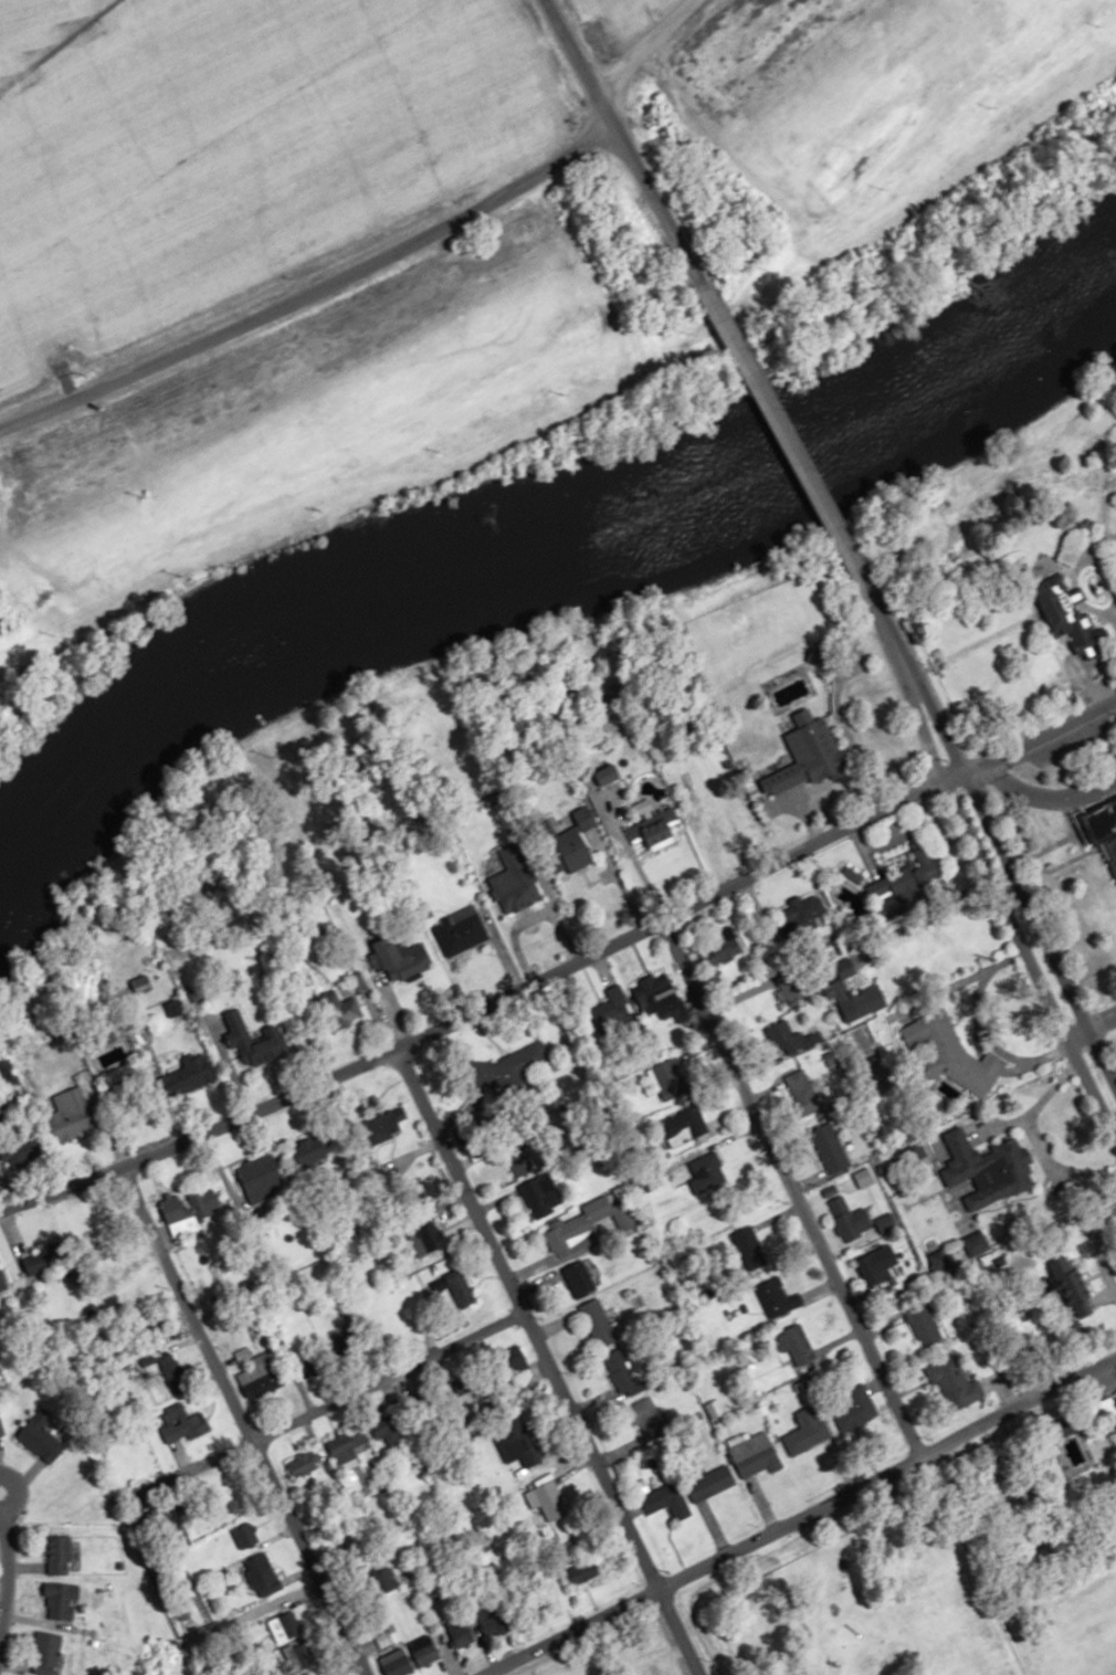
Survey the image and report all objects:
road: (643, 45)
road: (623, 141)
road: (312, 284)
road: (794, 438)
river: (538, 547)
road: (1061, 576)
road: (1108, 620)
building: (818, 656)
road: (1035, 728)
parking lot: (1072, 742)
building: (807, 755)
building: (609, 773)
road: (1042, 799)
building: (724, 819)
parking lot: (1049, 822)
building: (1099, 825)
building: (656, 833)
building: (577, 849)
road: (994, 853)
building: (514, 881)
building: (902, 900)
building: (803, 913)
building: (461, 930)
building: (722, 948)
building: (403, 958)
building: (661, 1004)
building: (851, 1004)
road: (485, 1008)
building: (339, 1009)
building: (609, 1015)
road: (1098, 1024)
building: (783, 1035)
building: (256, 1039)
building: (954, 1053)
building: (528, 1058)
building: (198, 1071)
building: (668, 1079)
building: (802, 1092)
building: (73, 1114)
building: (683, 1126)
building: (829, 1148)
building: (518, 1160)
building: (698, 1173)
building: (992, 1173)
building: (865, 1177)
building: (261, 1178)
road: (790, 1189)
building: (540, 1195)
building: (192, 1207)
building: (624, 1215)
building: (849, 1219)
building: (569, 1235)
building: (427, 1240)
building: (976, 1243)
building: (749, 1247)
building: (46, 1256)
building: (945, 1258)
building: (874, 1265)
building: (580, 1279)
building: (1067, 1281)
building: (461, 1289)
building: (0, 1293)
building: (777, 1298)
building: (598, 1324)
building: (923, 1324)
building: (797, 1346)
building: (325, 1352)
road: (546, 1363)
building: (620, 1371)
building: (954, 1384)
building: (1114, 1399)
road: (322, 1405)
building: (646, 1419)
road: (240, 1420)
building: (0, 1431)
building: (807, 1431)
building: (389, 1432)
building: (40, 1439)
building: (523, 1446)
building: (346, 1447)
building: (754, 1455)
building: (304, 1465)
building: (710, 1483)
road: (6, 1489)
building: (668, 1499)
building: (551, 1500)
road: (798, 1516)
road: (866, 1523)
building: (246, 1541)
road: (2, 1557)
building: (55, 1557)
building: (582, 1571)
building: (383, 1581)
building: (62, 1600)
park: (886, 1600)
building: (491, 1620)
building: (284, 1626)
building: (457, 1631)
building: (46, 1651)
building: (424, 1651)
building: (298, 1657)
building: (396, 1662)
building: (306, 1674)

